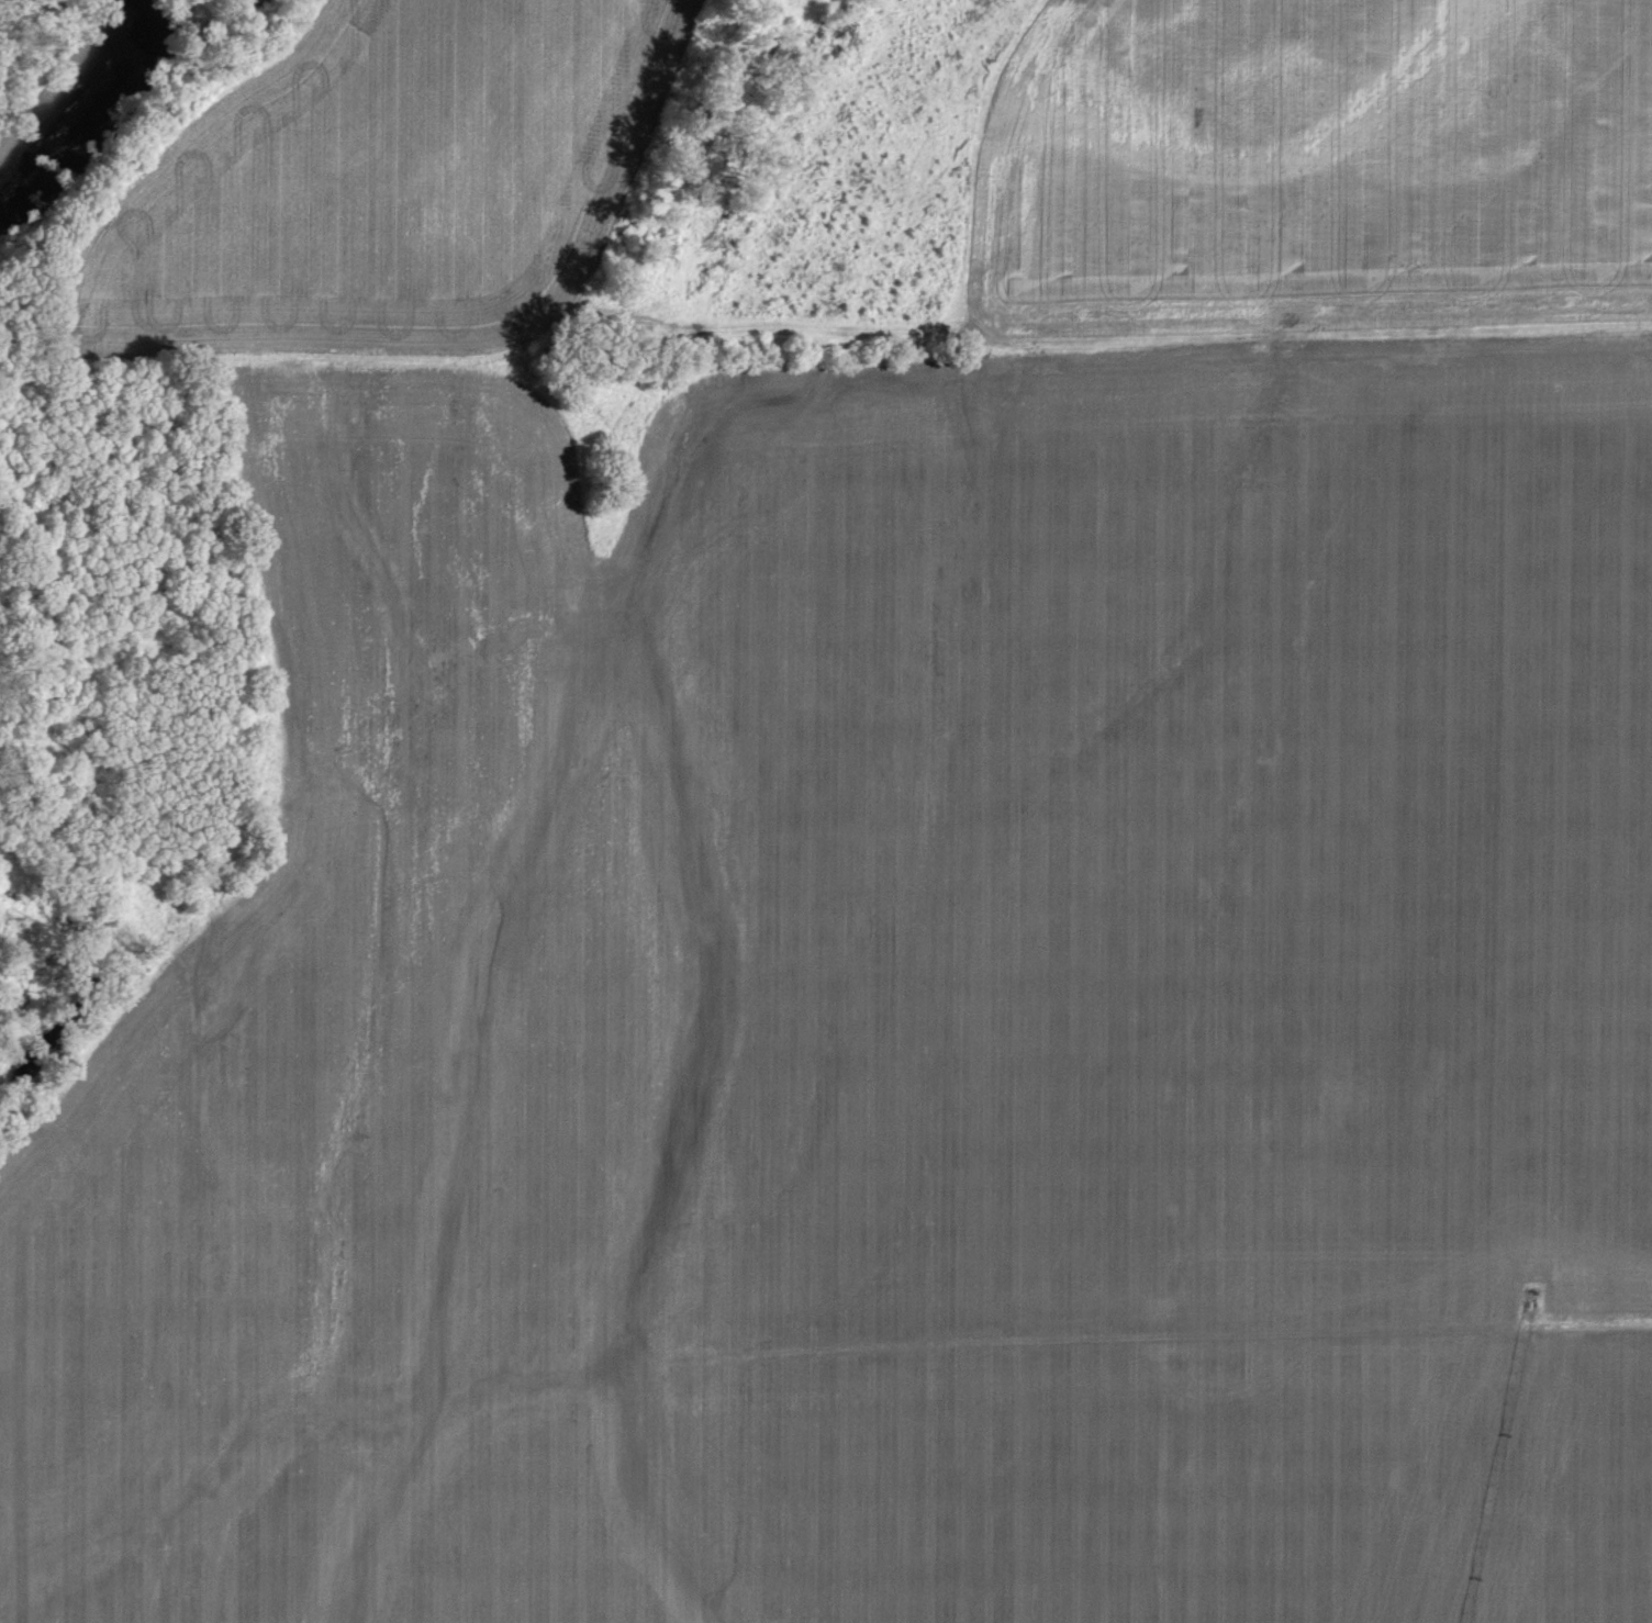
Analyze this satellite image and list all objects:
river: (92, 107)

